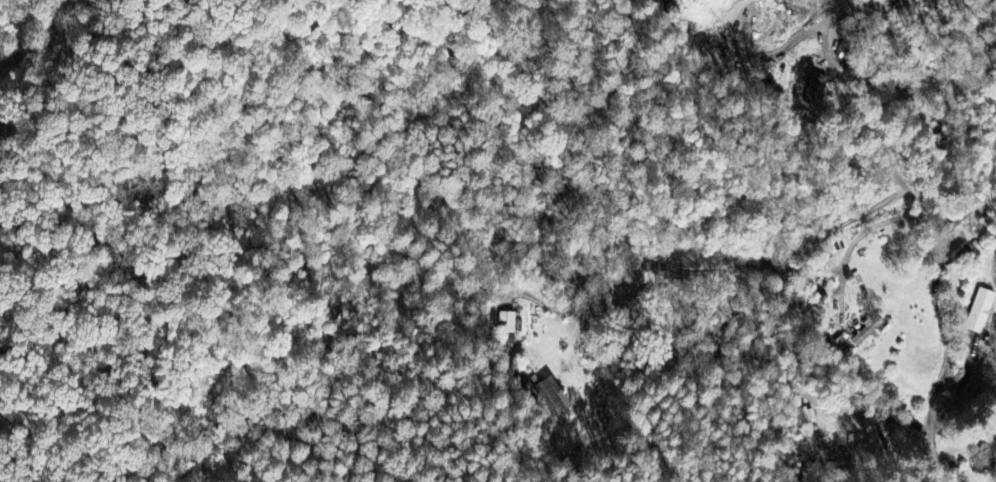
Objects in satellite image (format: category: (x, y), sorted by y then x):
building: (981, 312)
road: (42, 435)
road: (939, 472)

